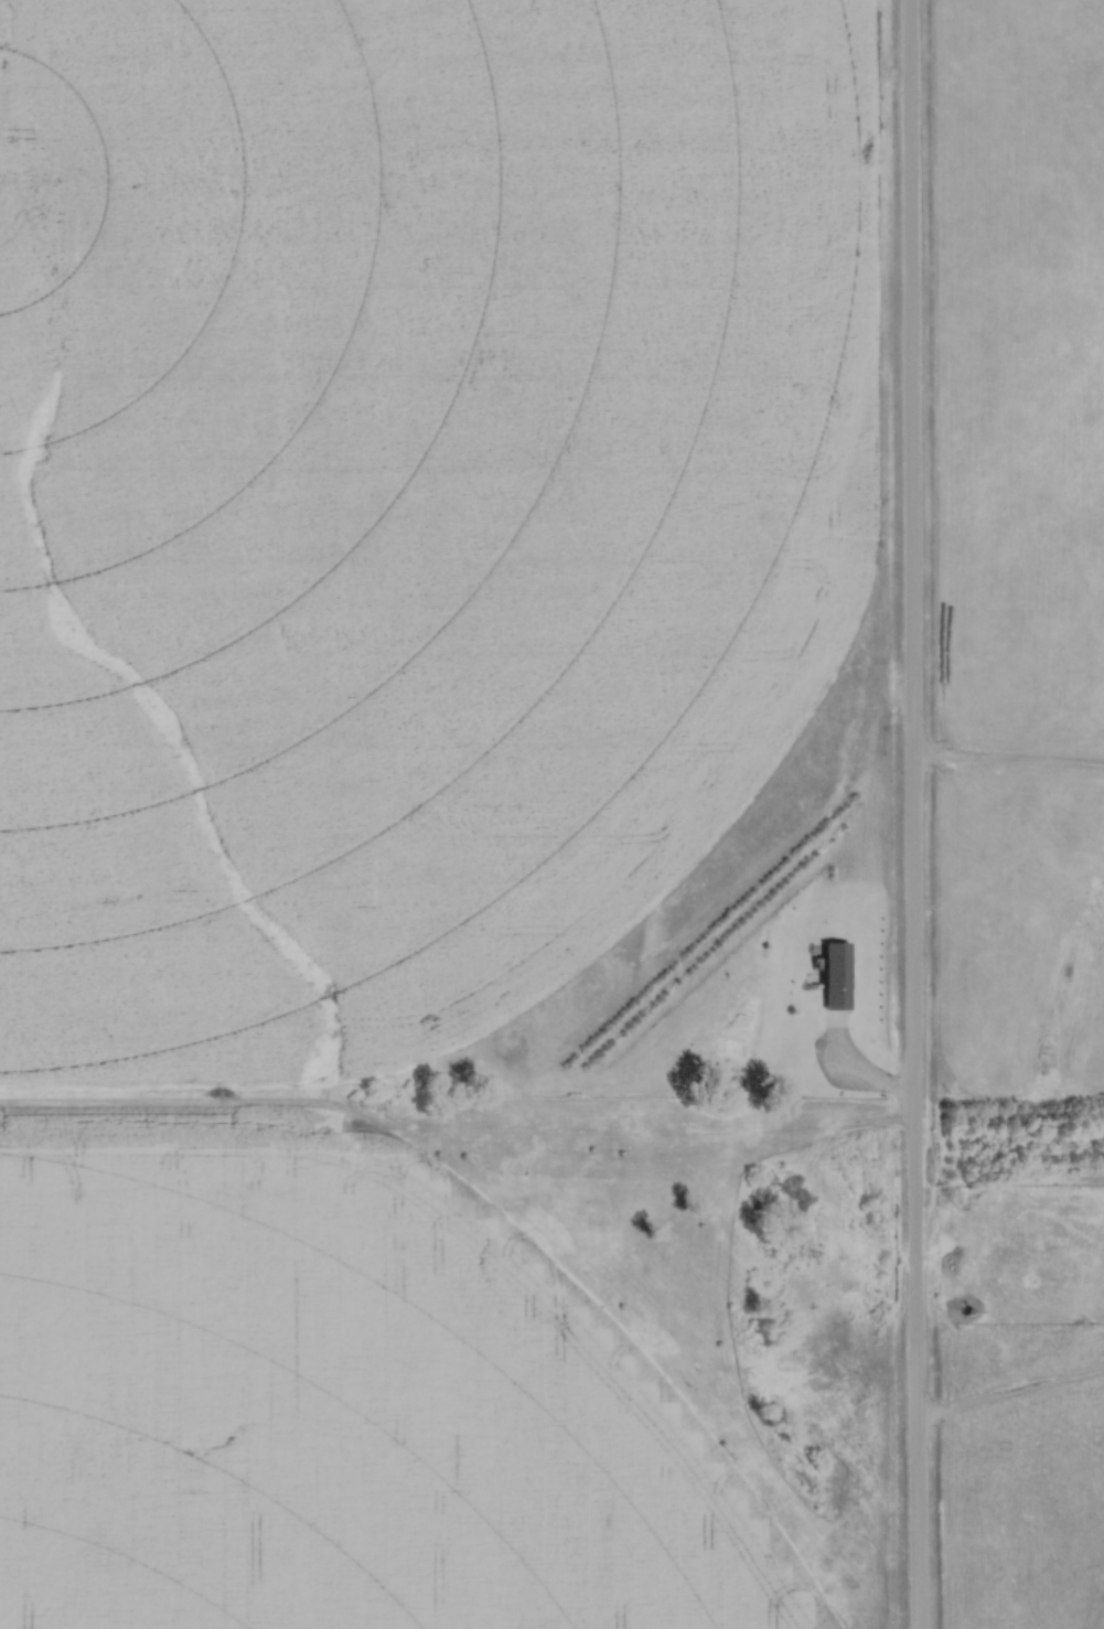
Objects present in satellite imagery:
airport: (1018, 543)
road: (1008, 768)
road: (913, 814)
road: (1010, 1403)

